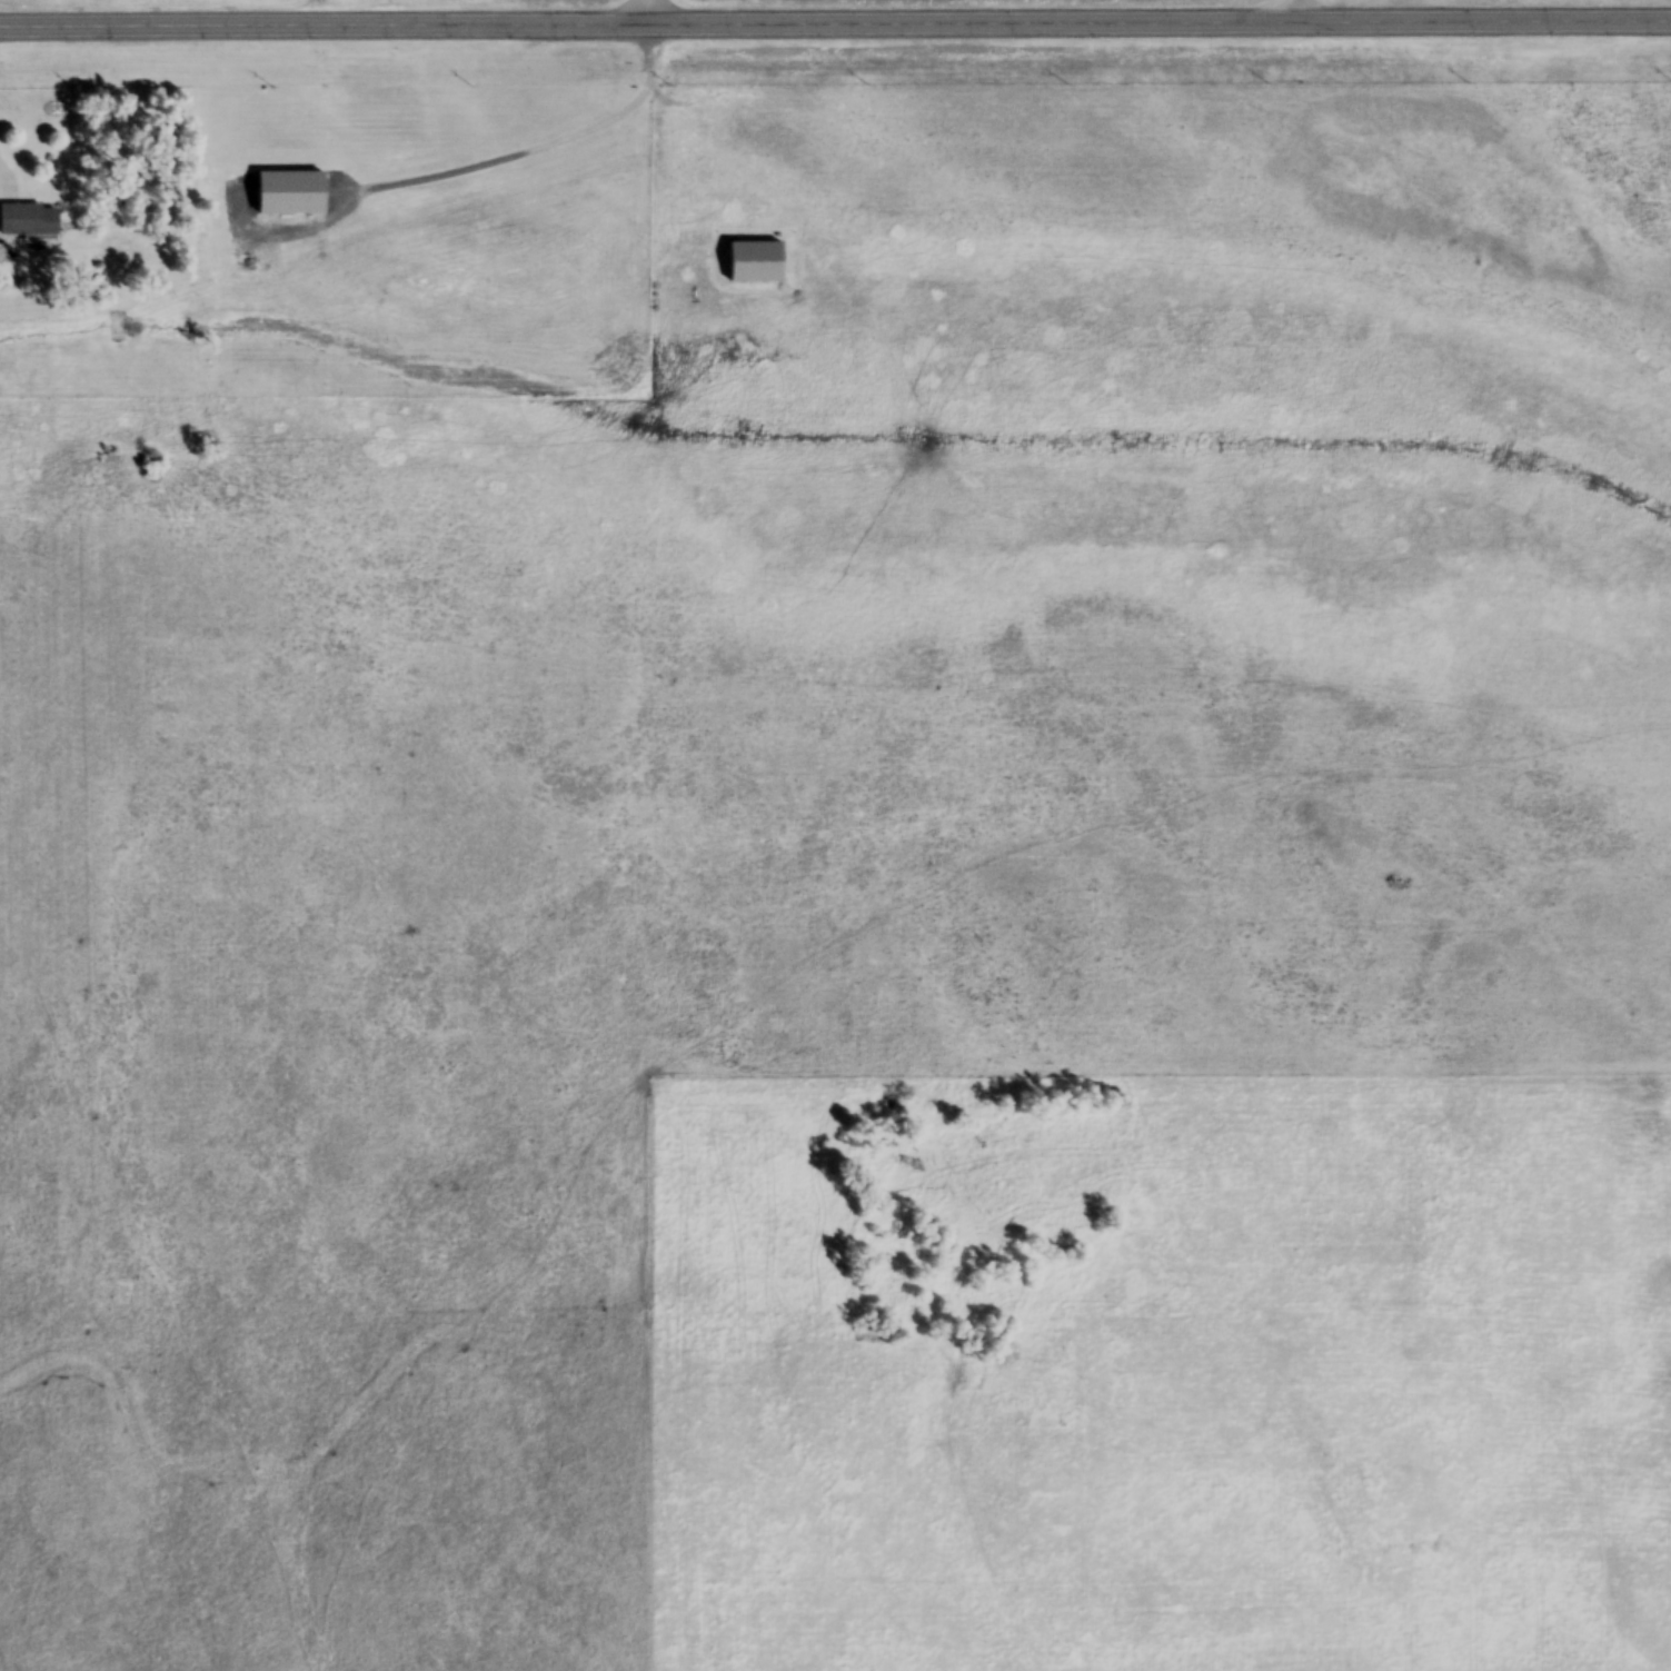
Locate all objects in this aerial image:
road: (1299, 9)
road: (654, 10)
road: (835, 21)
road: (8, 178)
building: (292, 192)
building: (31, 218)
building: (757, 261)

